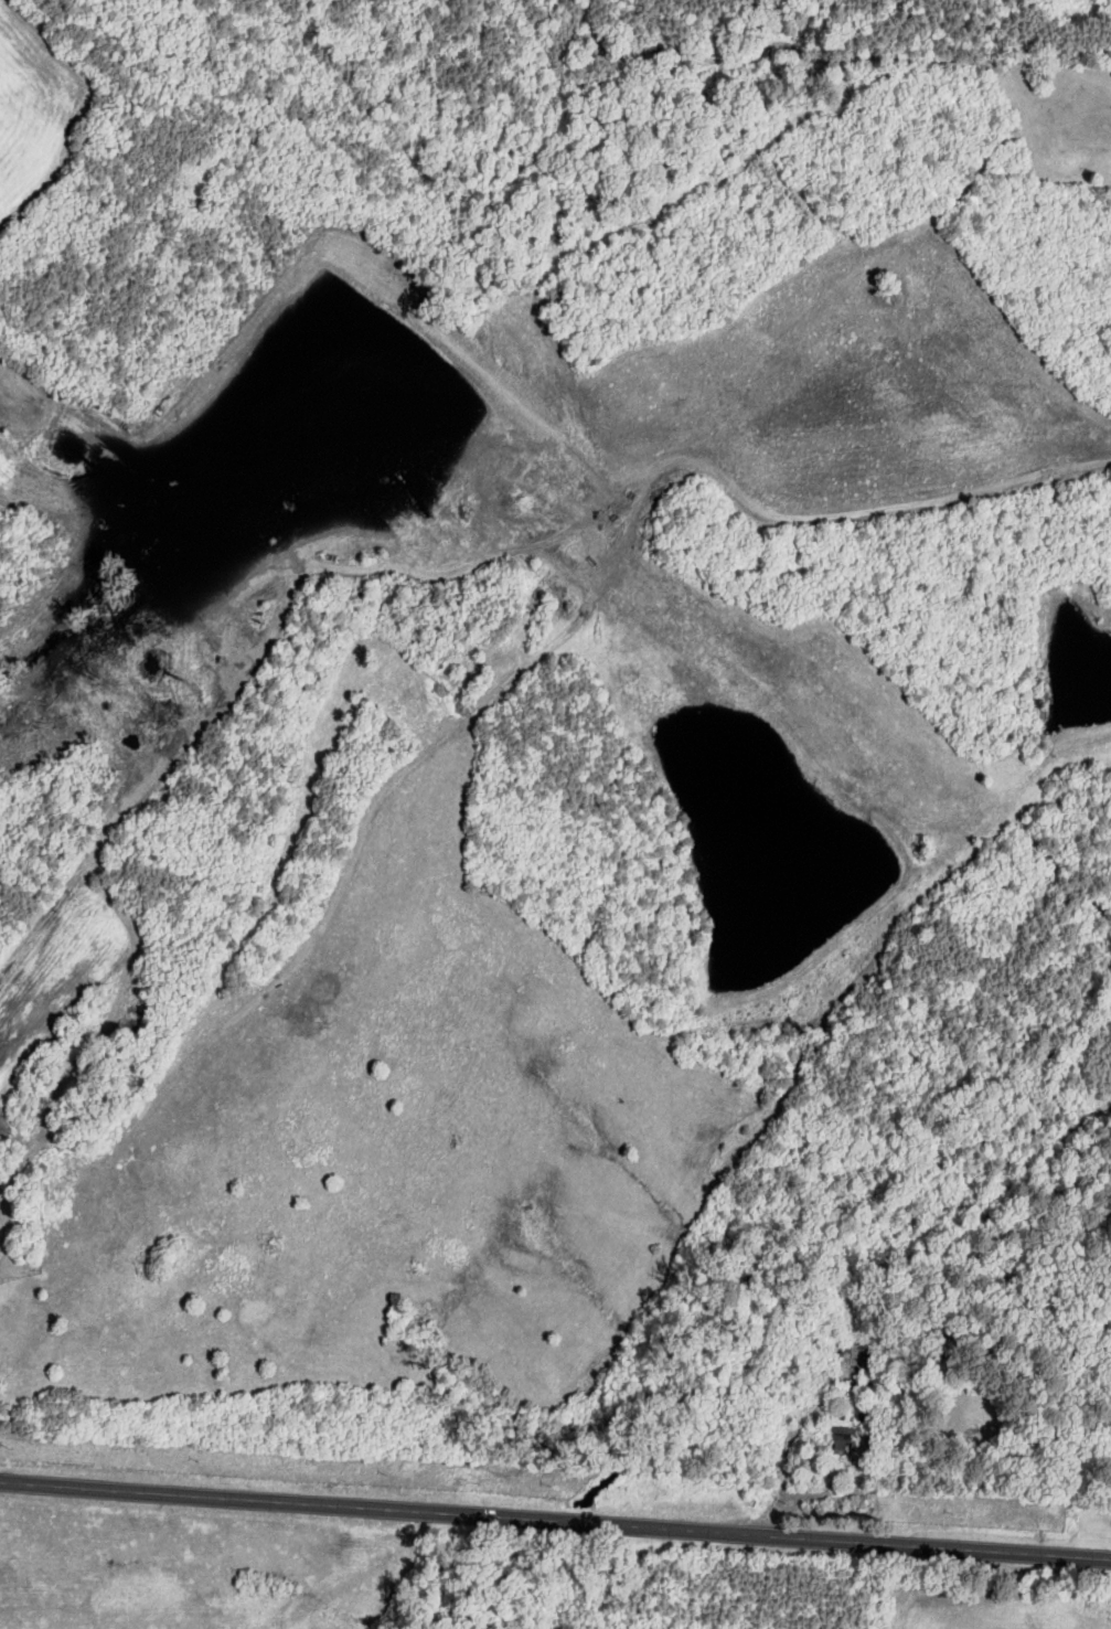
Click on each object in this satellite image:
road: (23, 1221)
road: (555, 1525)

